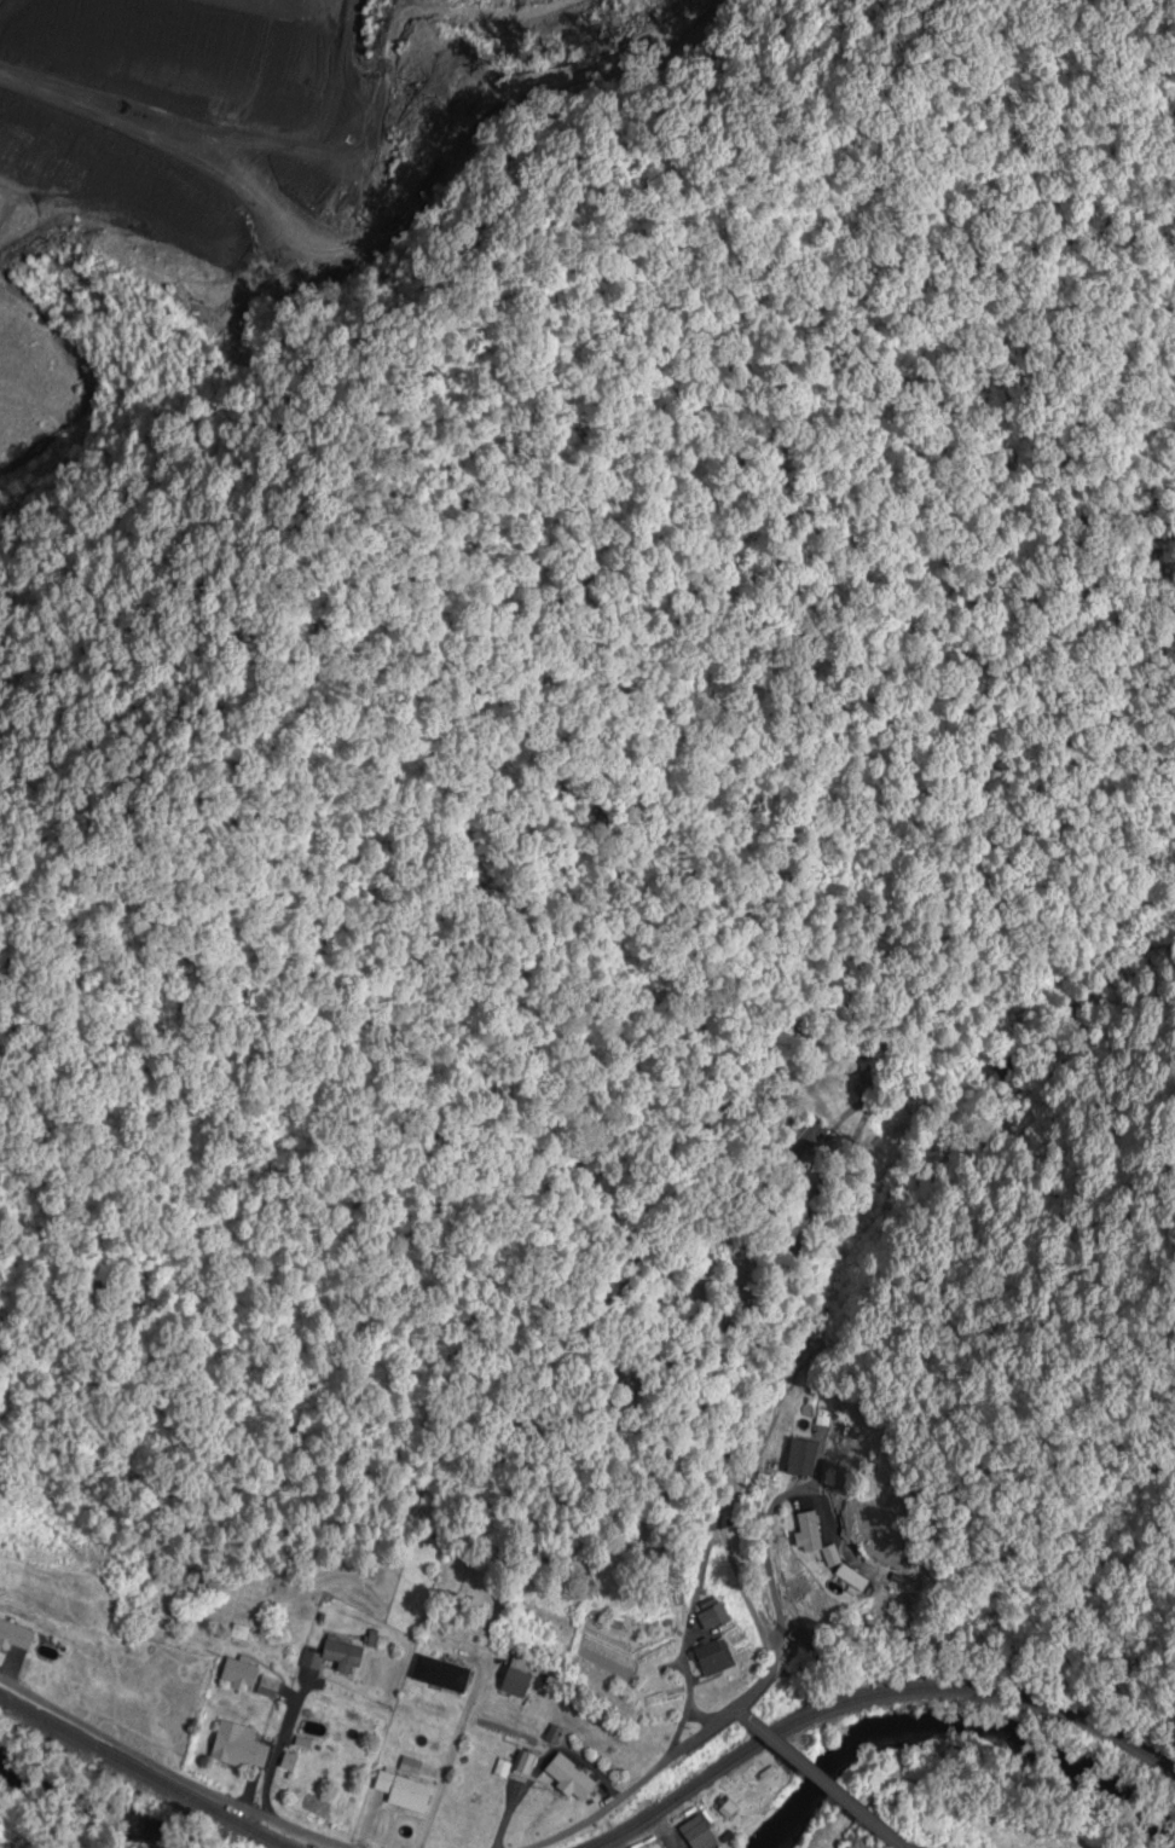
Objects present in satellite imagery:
quarry: (277, 146)
building: (986, 1077)
building: (806, 1142)
building: (808, 1421)
road: (817, 1467)
building: (798, 1468)
building: (808, 1533)
road: (747, 1597)
building: (710, 1620)
building: (16, 1636)
road: (685, 1653)
building: (343, 1656)
building: (716, 1659)
road: (769, 1669)
building: (241, 1674)
building: (440, 1675)
building: (516, 1684)
building: (267, 1688)
railway: (874, 1697)
road: (737, 1714)
river: (960, 1742)
road: (282, 1745)
building: (238, 1748)
road: (451, 1756)
building: (525, 1765)
road: (169, 1769)
railway: (143, 1773)
building: (569, 1779)
road: (823, 1780)
building: (403, 1792)
river: (64, 1811)
building: (698, 1835)
road: (902, 1847)

